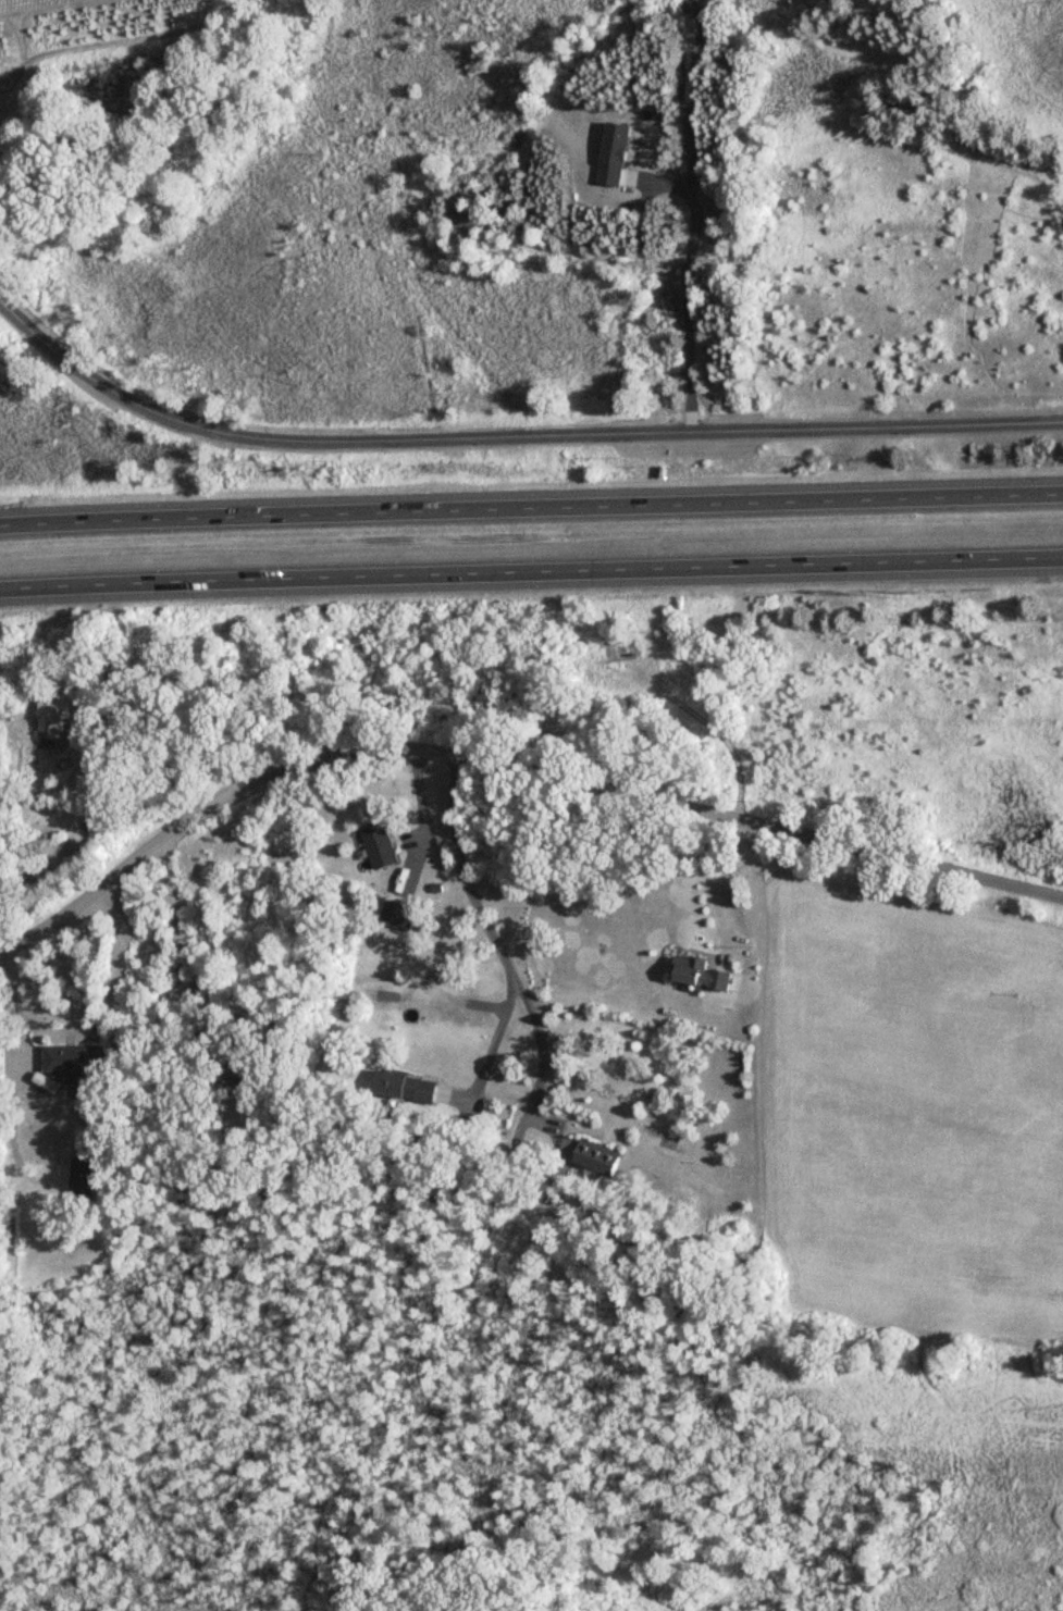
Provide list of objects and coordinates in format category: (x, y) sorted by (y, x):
crop: (86, 41)
road: (511, 439)
road: (531, 509)
road: (531, 572)
road: (201, 686)
building: (52, 718)
road: (510, 767)
building: (382, 846)
road: (716, 877)
building: (401, 917)
road: (497, 941)
road: (182, 946)
building: (702, 972)
road: (15, 1003)
road: (493, 1039)
building: (77, 1057)
building: (244, 1079)
building: (410, 1087)
crop: (922, 1112)
building: (592, 1155)
building: (79, 1180)

